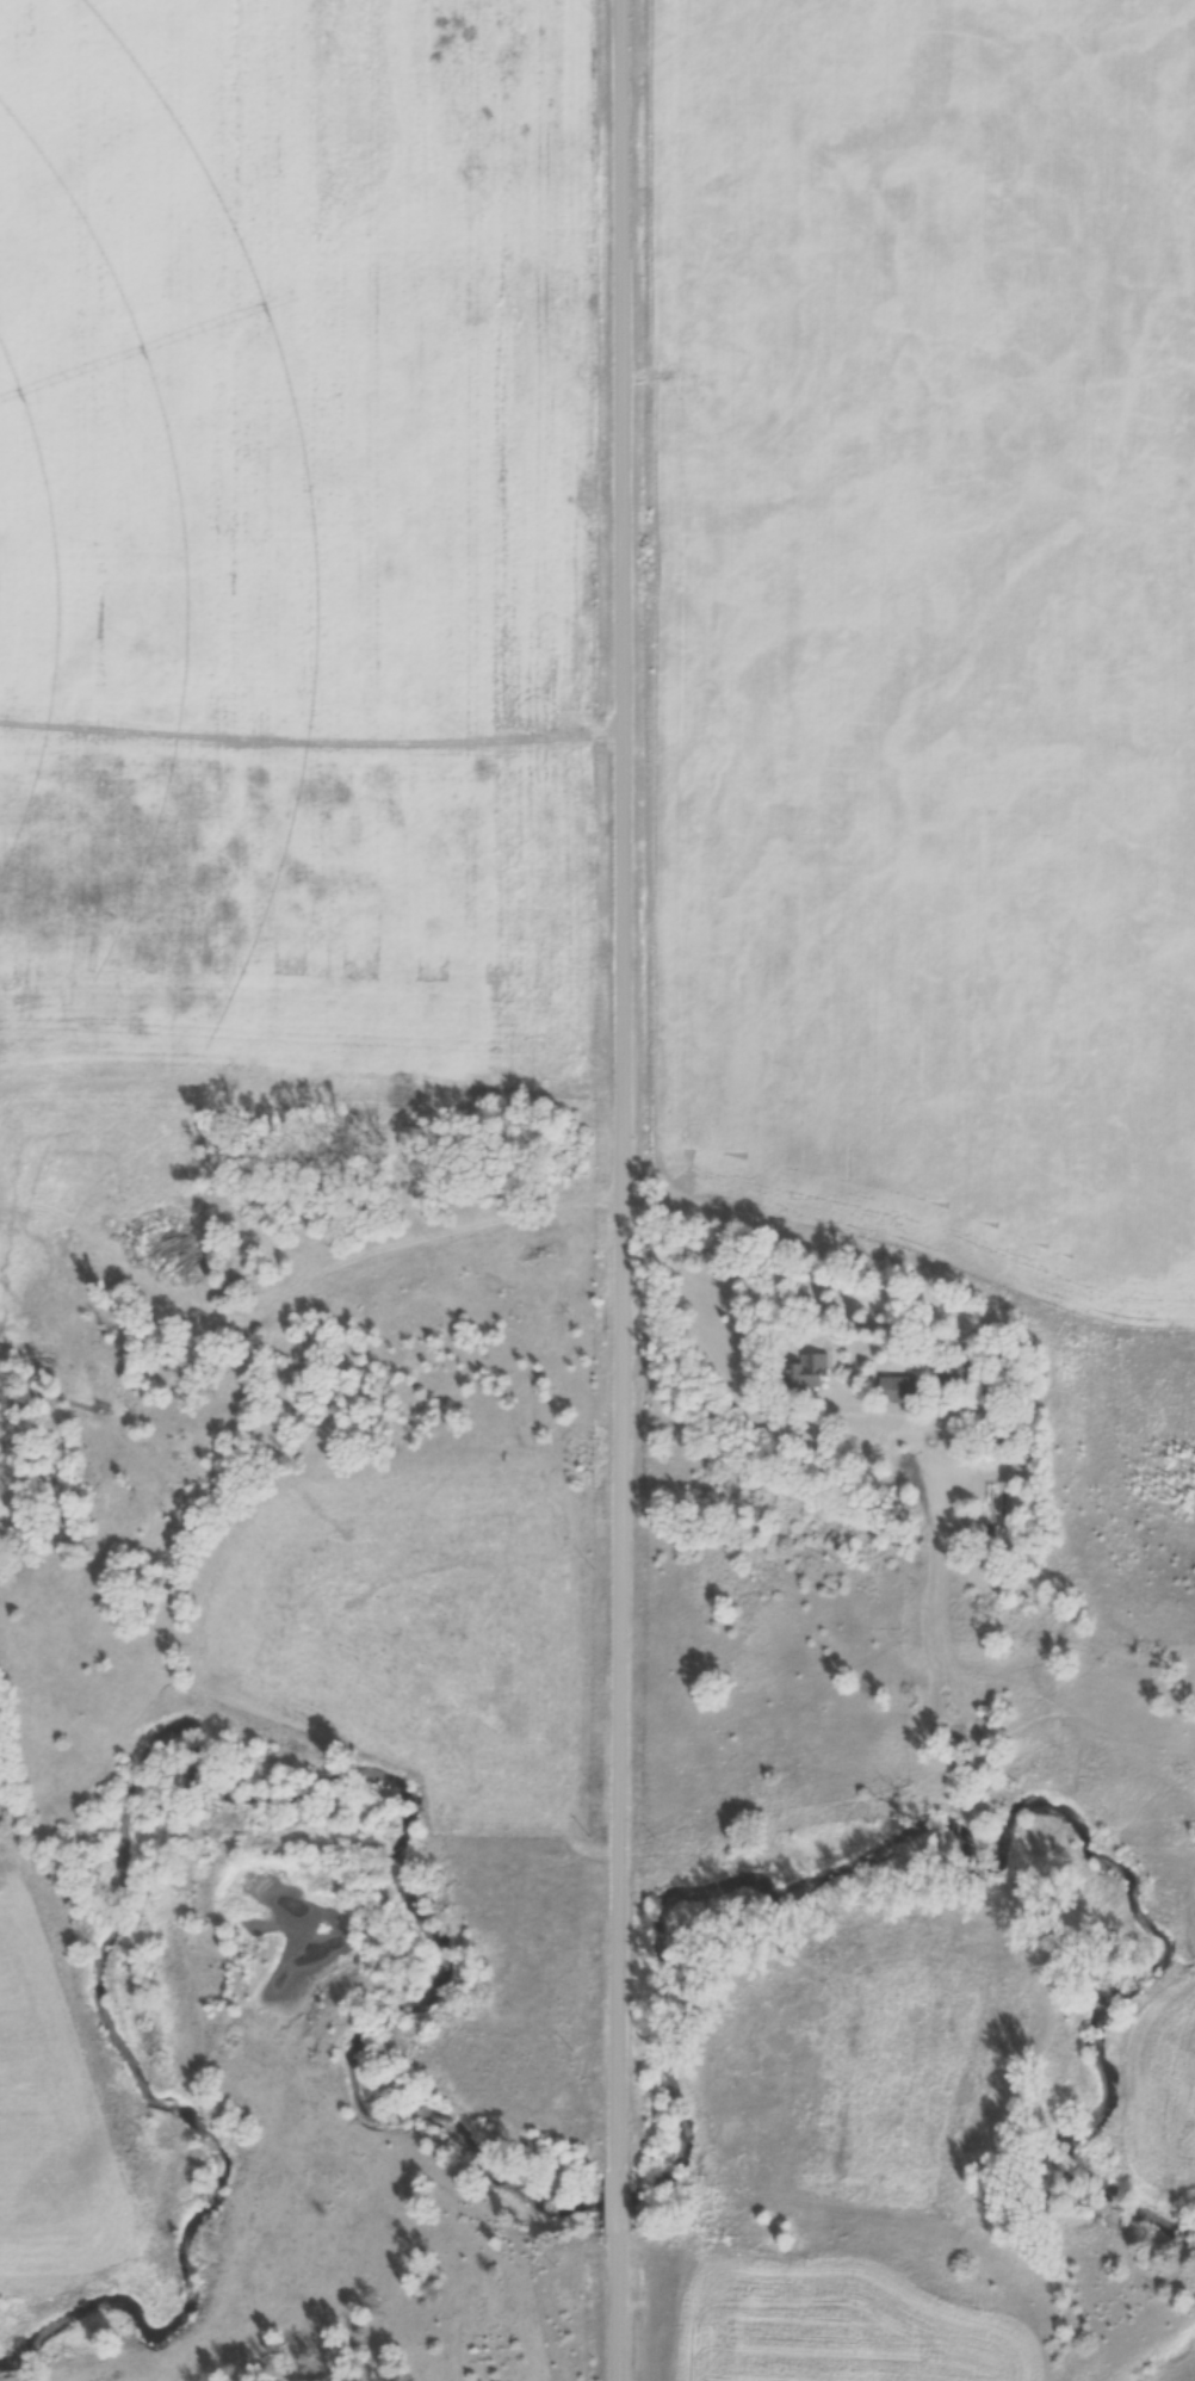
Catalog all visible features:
road: (623, 1190)
building: (806, 1368)
building: (894, 1390)

